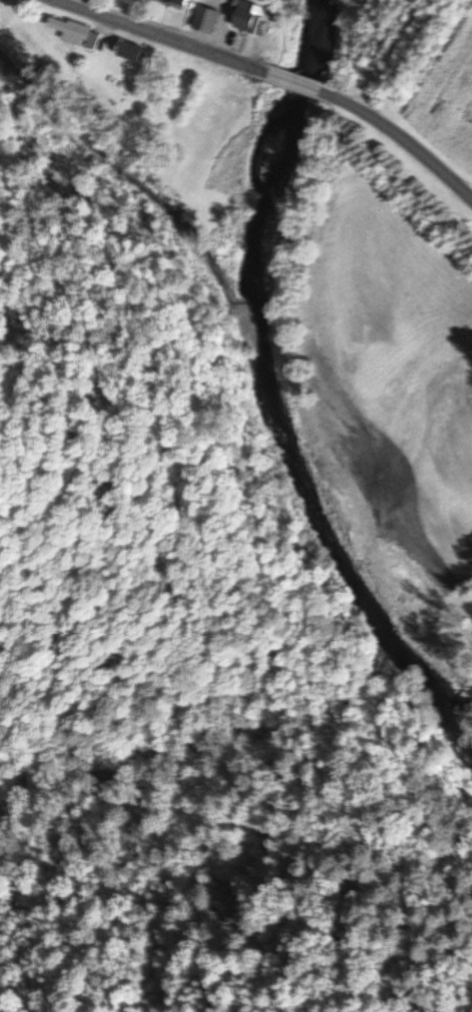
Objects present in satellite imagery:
building: (173, 2)
building: (246, 18)
building: (205, 20)
building: (68, 30)
road: (159, 37)
building: (128, 53)
road: (295, 83)
road: (400, 139)
river: (270, 415)

